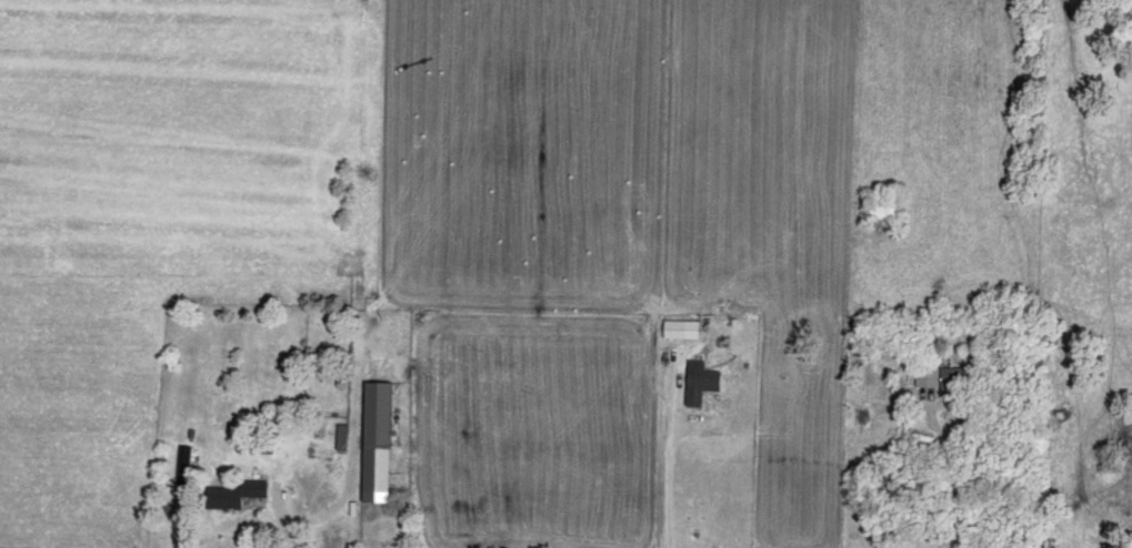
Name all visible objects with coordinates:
building: (679, 326)
building: (941, 375)
building: (699, 379)
building: (340, 434)
building: (372, 439)
road: (669, 459)
road: (953, 476)
building: (238, 491)

